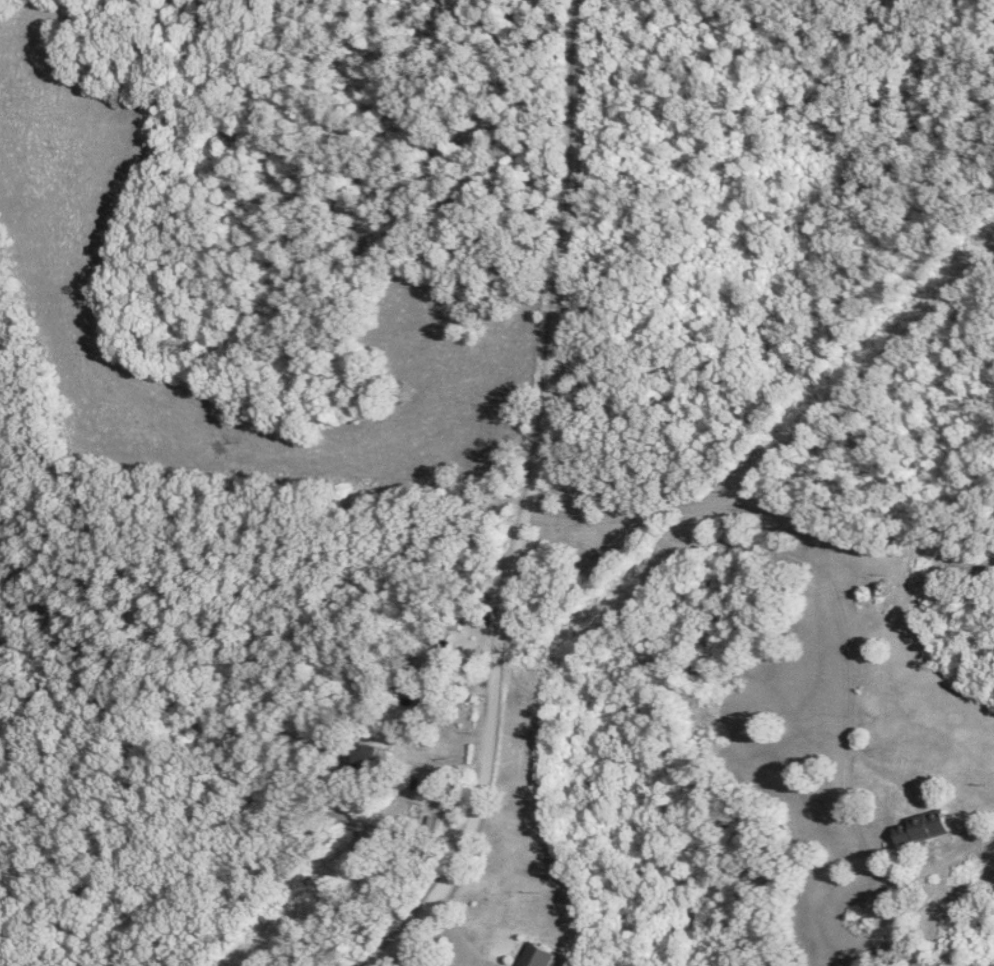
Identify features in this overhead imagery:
road: (526, 503)
road: (783, 551)
building: (369, 756)
building: (926, 827)
road: (462, 940)
building: (542, 956)

